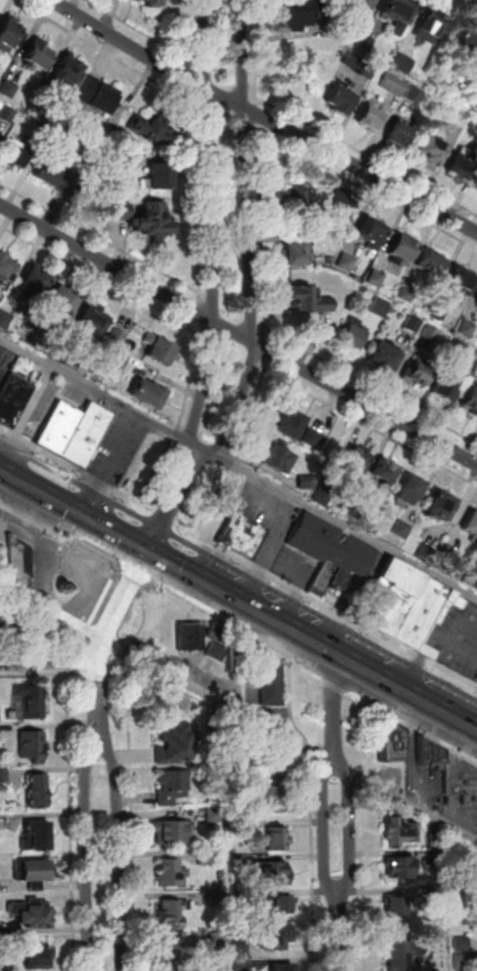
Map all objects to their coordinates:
building: (131, 0)
building: (372, 1)
road: (474, 1)
building: (152, 3)
building: (362, 4)
building: (302, 13)
building: (400, 14)
building: (433, 30)
road: (140, 31)
road: (190, 31)
building: (8, 38)
building: (366, 44)
road: (105, 50)
building: (470, 50)
building: (37, 56)
road: (193, 57)
road: (203, 61)
building: (404, 64)
road: (191, 65)
building: (361, 65)
road: (223, 71)
building: (67, 75)
road: (191, 80)
road: (242, 80)
road: (251, 85)
building: (395, 85)
building: (9, 89)
building: (417, 95)
building: (100, 98)
building: (342, 102)
building: (39, 107)
road: (254, 108)
building: (8, 114)
building: (372, 117)
road: (263, 118)
road: (195, 125)
road: (258, 125)
road: (206, 127)
building: (152, 128)
road: (224, 131)
road: (323, 132)
road: (242, 134)
building: (44, 135)
road: (254, 135)
building: (398, 137)
building: (433, 153)
building: (15, 158)
building: (117, 165)
building: (462, 166)
building: (47, 176)
building: (162, 178)
building: (66, 186)
road: (367, 187)
building: (476, 192)
building: (297, 201)
building: (344, 207)
building: (119, 213)
building: (155, 222)
road: (208, 227)
building: (371, 234)
building: (297, 236)
road: (251, 239)
building: (403, 252)
building: (295, 256)
building: (332, 260)
building: (347, 263)
building: (433, 265)
building: (7, 268)
road: (100, 279)
building: (377, 279)
building: (463, 283)
road: (185, 284)
building: (34, 288)
building: (409, 294)
building: (475, 299)
building: (309, 302)
building: (62, 303)
building: (476, 305)
building: (381, 307)
building: (438, 313)
road: (203, 320)
building: (5, 321)
building: (93, 322)
building: (415, 325)
building: (468, 330)
building: (431, 334)
road: (238, 335)
building: (353, 336)
building: (32, 337)
road: (284, 337)
building: (117, 339)
building: (460, 349)
building: (161, 352)
building: (62, 354)
building: (386, 357)
building: (119, 360)
parking lot: (6, 365)
building: (419, 375)
road: (1, 384)
road: (96, 388)
building: (449, 389)
road: (259, 394)
building: (148, 397)
parking lot: (48, 401)
building: (13, 402)
building: (471, 403)
road: (27, 415)
road: (372, 426)
building: (291, 428)
building: (61, 430)
road: (177, 433)
building: (88, 436)
building: (314, 440)
parking lot: (122, 448)
building: (279, 463)
road: (233, 464)
building: (358, 465)
road: (76, 468)
road: (158, 472)
building: (387, 474)
road: (12, 477)
building: (308, 484)
building: (412, 494)
building: (324, 498)
road: (171, 500)
road: (213, 503)
road: (67, 507)
building: (356, 509)
building: (442, 509)
road: (163, 516)
road: (43, 524)
road: (346, 524)
building: (472, 529)
traffic signals: (111, 530)
building: (403, 531)
building: (239, 533)
road: (127, 539)
building: (329, 543)
traffic signals: (144, 549)
building: (426, 553)
road: (99, 555)
building: (451, 556)
road: (170, 558)
building: (19, 560)
road: (182, 570)
road: (130, 572)
building: (321, 577)
building: (338, 578)
road: (235, 597)
building: (402, 601)
road: (324, 606)
building: (18, 621)
road: (295, 630)
road: (238, 631)
road: (68, 634)
road: (99, 636)
building: (191, 639)
building: (219, 643)
road: (90, 644)
road: (40, 645)
building: (239, 655)
road: (50, 659)
road: (69, 659)
road: (43, 674)
road: (99, 676)
road: (121, 678)
building: (273, 686)
road: (337, 686)
road: (409, 691)
building: (33, 703)
road: (238, 709)
road: (336, 709)
road: (412, 726)
building: (216, 728)
road: (379, 742)
building: (393, 743)
building: (176, 746)
building: (34, 747)
building: (430, 755)
building: (4, 774)
road: (133, 774)
road: (363, 778)
building: (460, 780)
building: (174, 786)
building: (39, 791)
building: (275, 795)
road: (314, 813)
building: (216, 816)
road: (72, 819)
road: (327, 826)
road: (352, 828)
building: (238, 829)
building: (173, 833)
building: (402, 833)
building: (37, 838)
building: (278, 838)
building: (438, 841)
road: (88, 855)
road: (120, 855)
building: (209, 858)
building: (439, 859)
building: (239, 863)
building: (400, 869)
building: (172, 873)
building: (33, 874)
building: (272, 875)
road: (365, 878)
building: (460, 885)
building: (440, 892)
building: (240, 898)
building: (219, 899)
building: (278, 904)
building: (397, 909)
building: (175, 914)
building: (32, 916)
road: (340, 931)
building: (275, 937)
building: (219, 941)
building: (463, 943)
building: (242, 949)
building: (401, 957)
building: (173, 958)
building: (38, 960)
building: (465, 962)
building: (241, 965)
building: (283, 967)
building: (434, 970)

